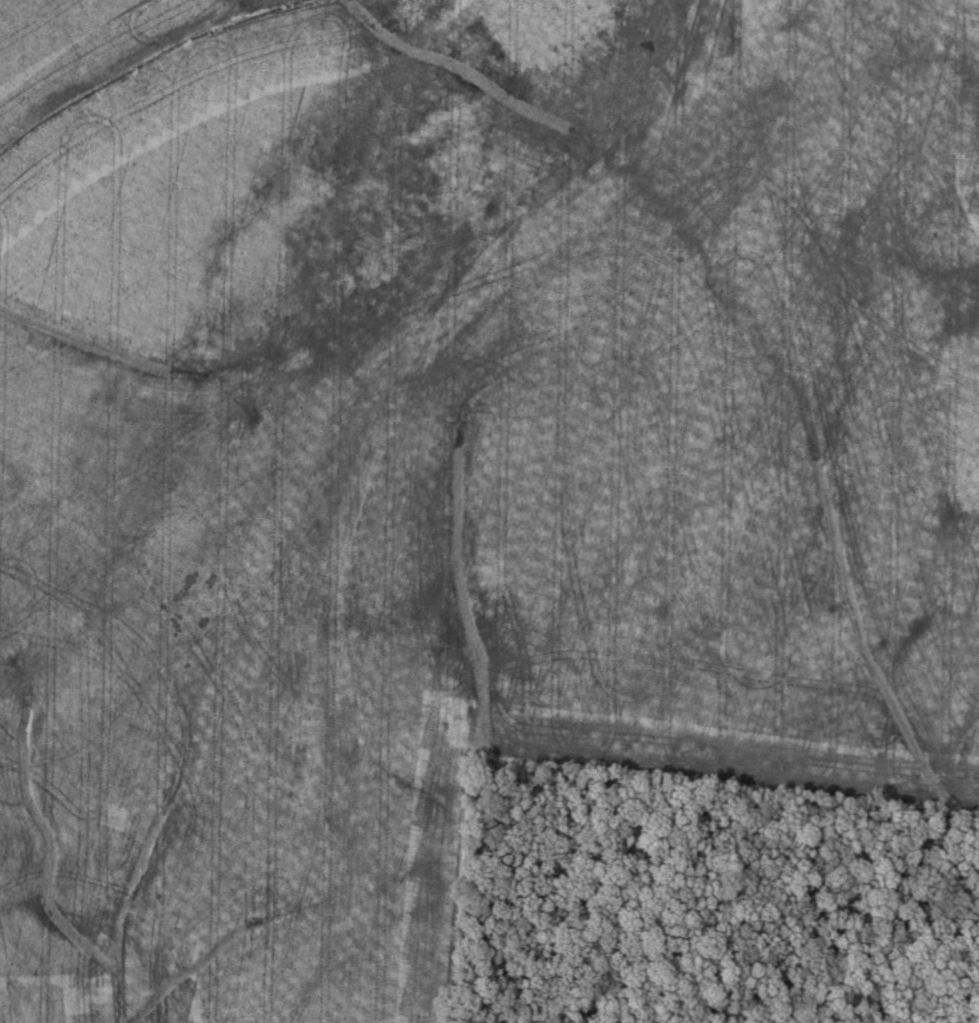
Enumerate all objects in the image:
crop: (458, 455)

